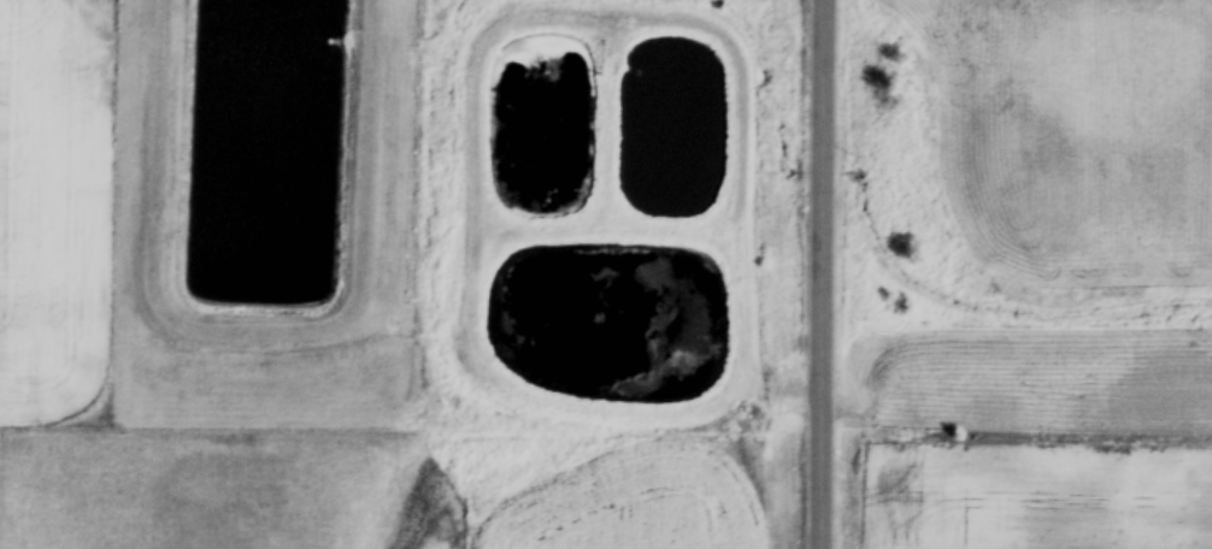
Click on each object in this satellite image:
road: (823, 273)

